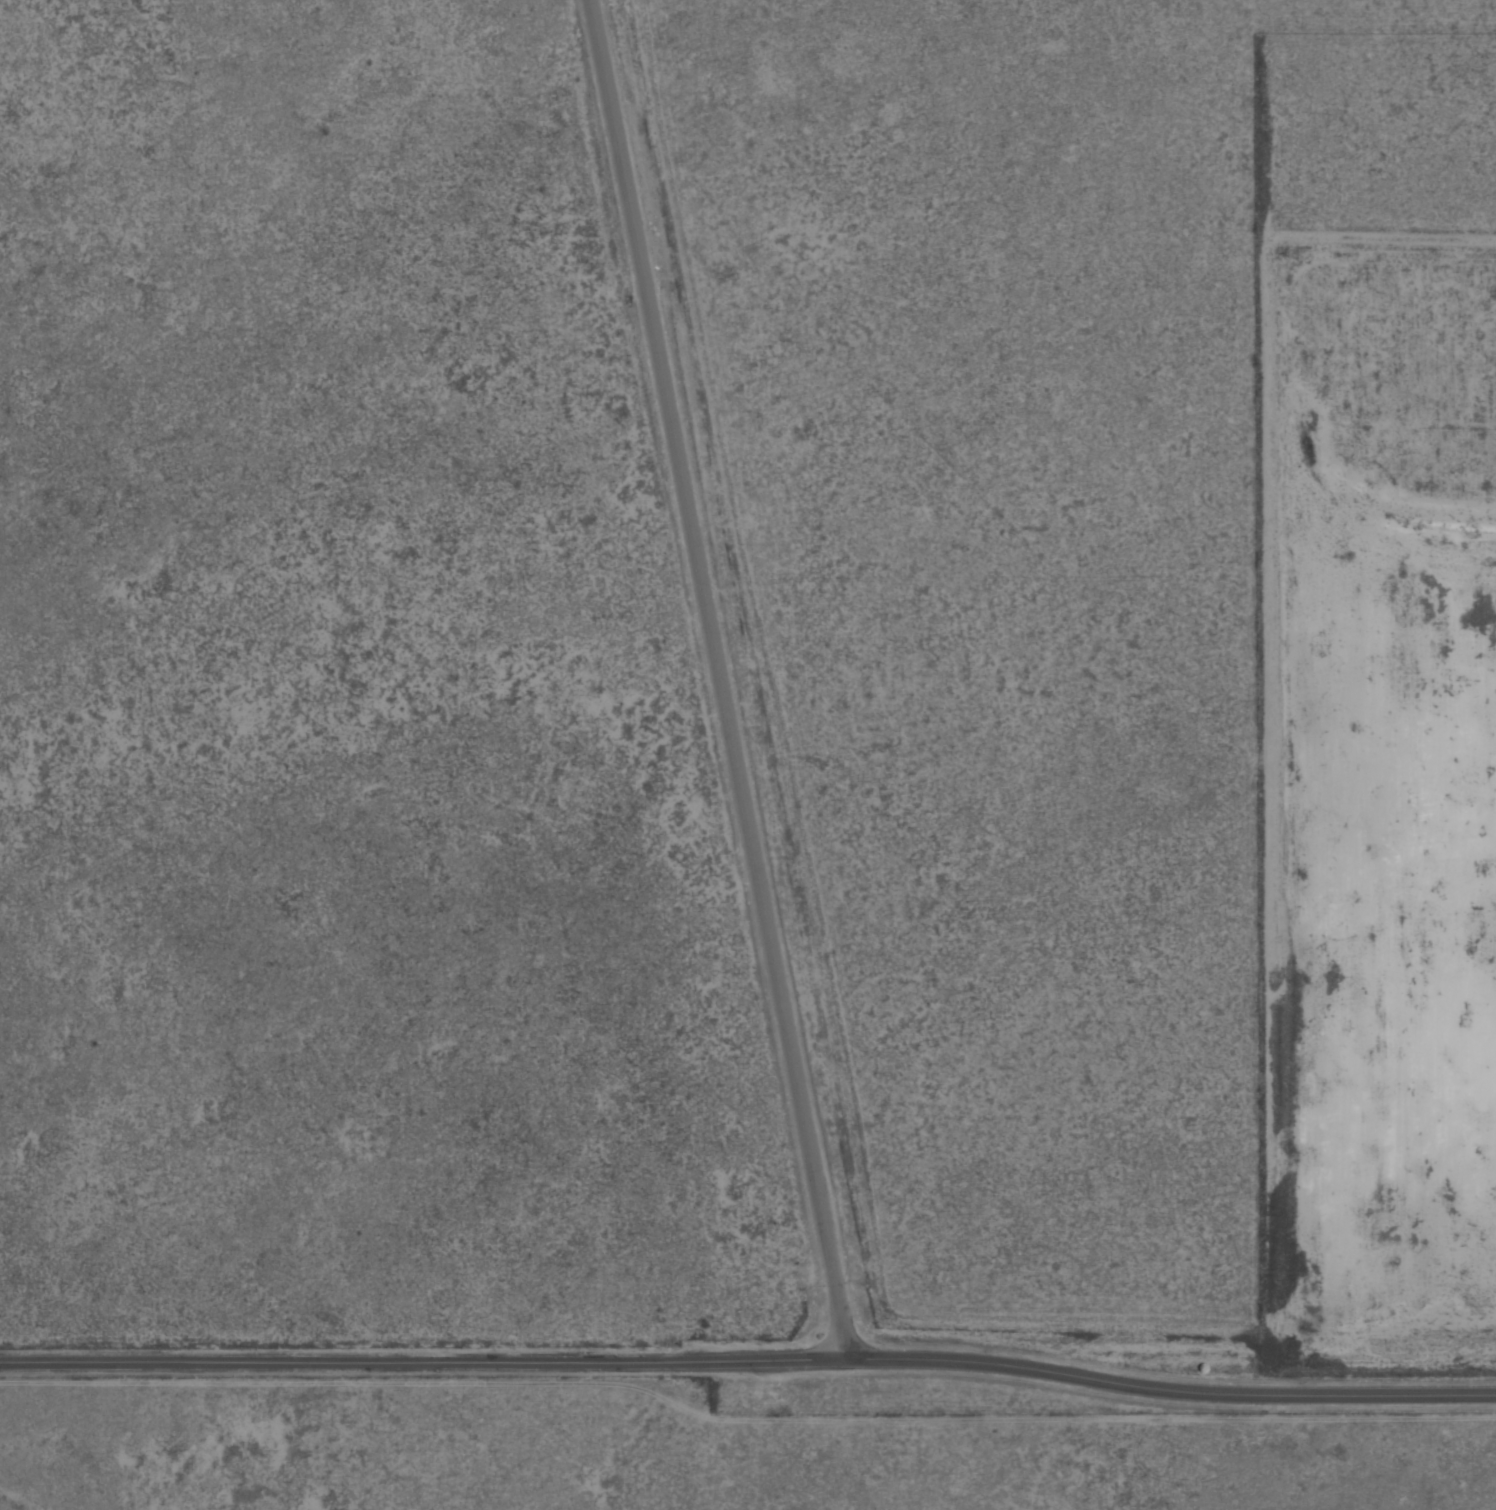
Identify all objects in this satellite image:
road: (716, 679)
road: (423, 1363)
road: (1170, 1390)

